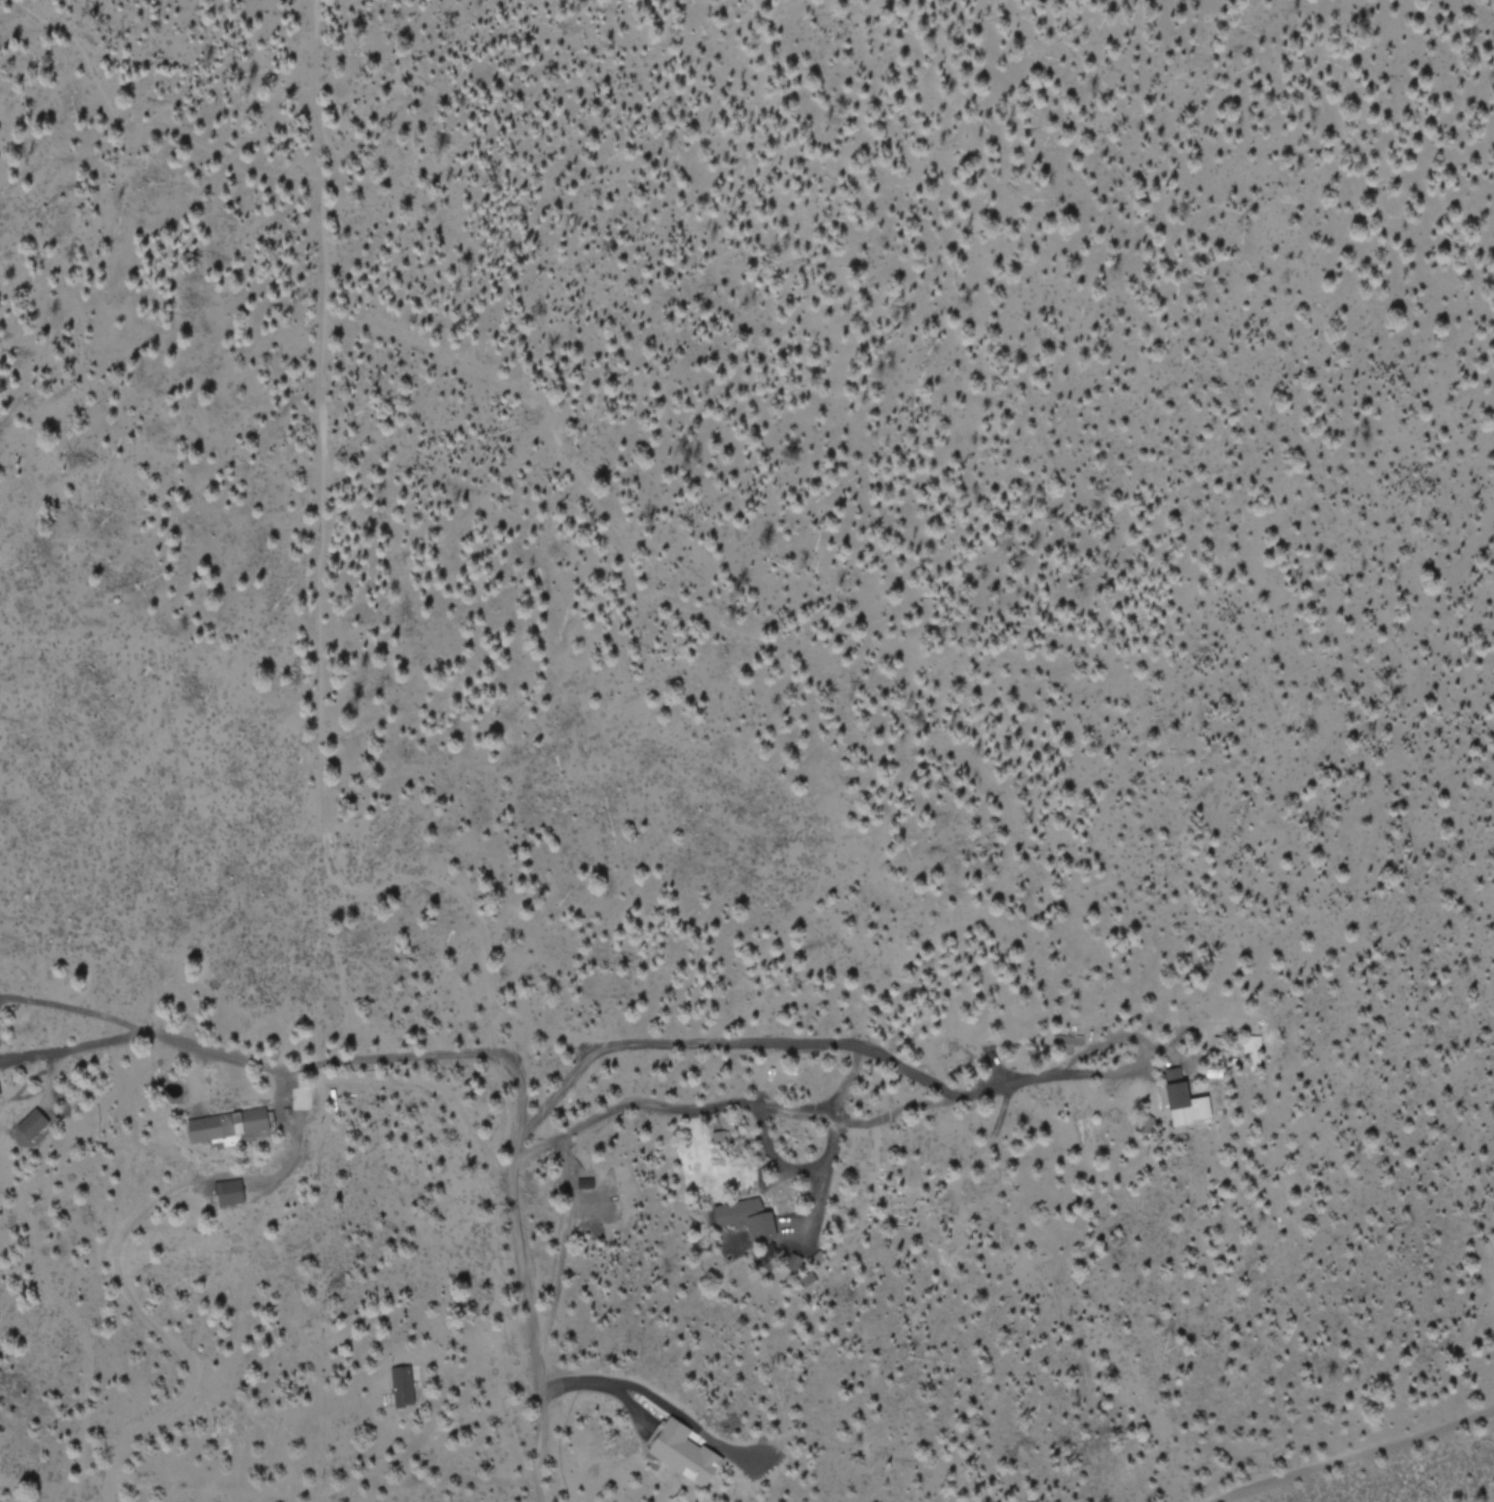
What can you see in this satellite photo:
building: (1064, 1042)
building: (1184, 1099)
building: (31, 1123)
building: (227, 1124)
building: (228, 1191)
building: (736, 1211)
building: (760, 1227)
building: (400, 1385)
building: (683, 1453)
road: (1359, 1454)

